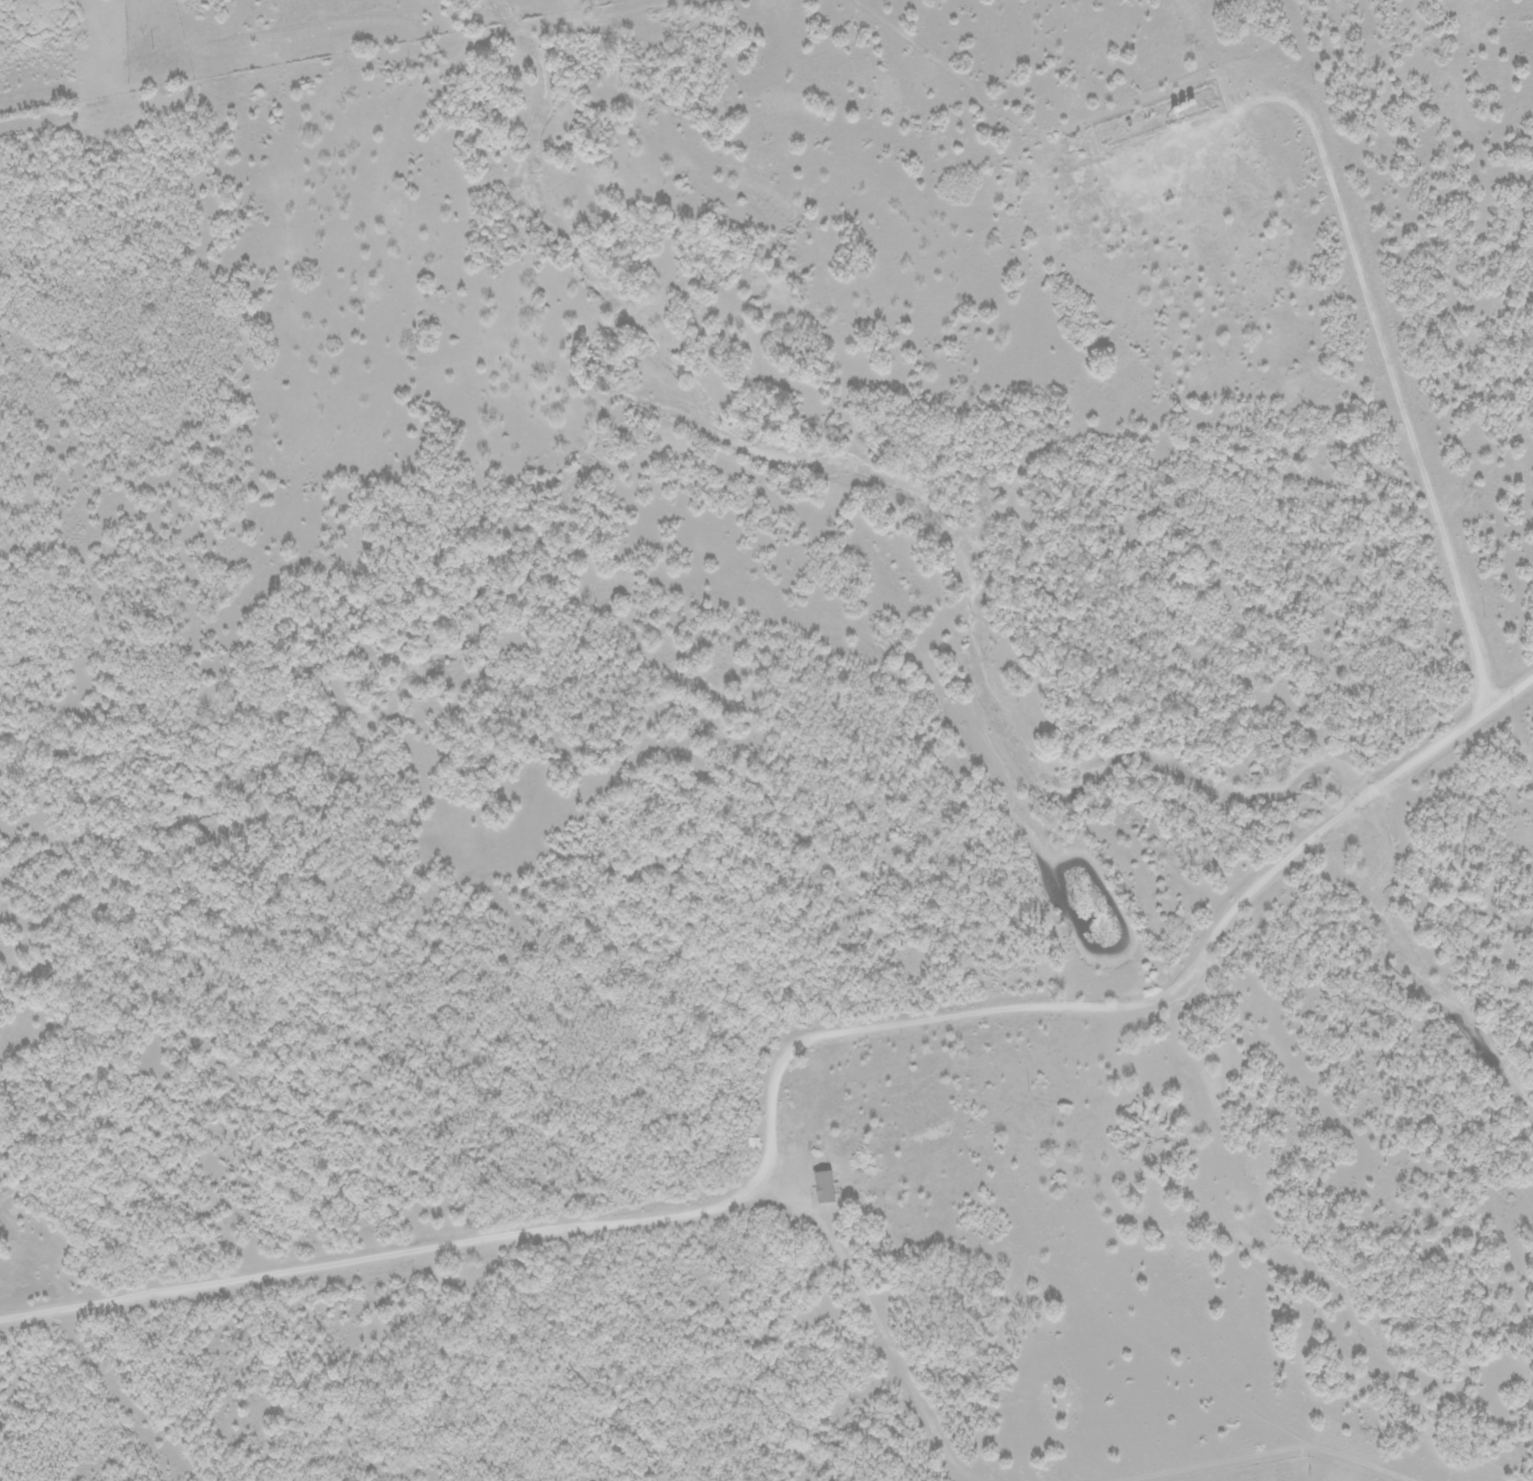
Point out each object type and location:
building: (824, 1186)

